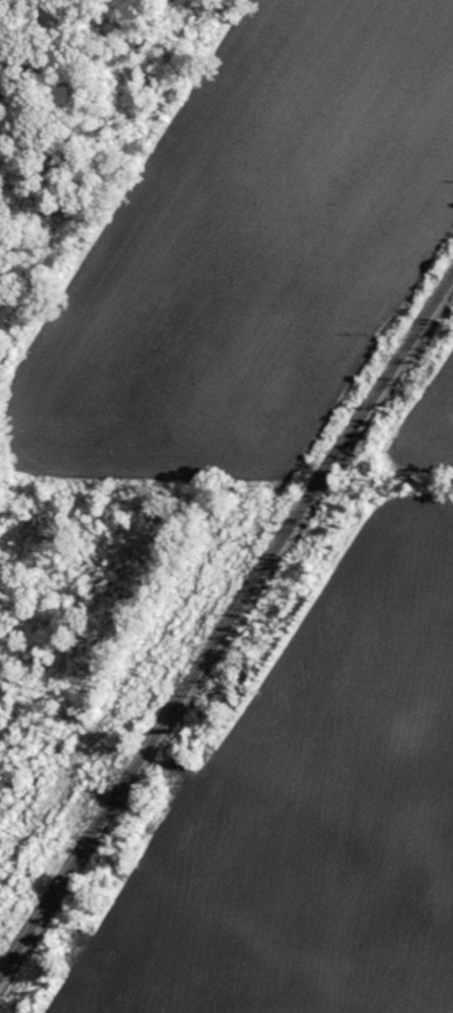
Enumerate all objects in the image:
railway: (226, 630)

